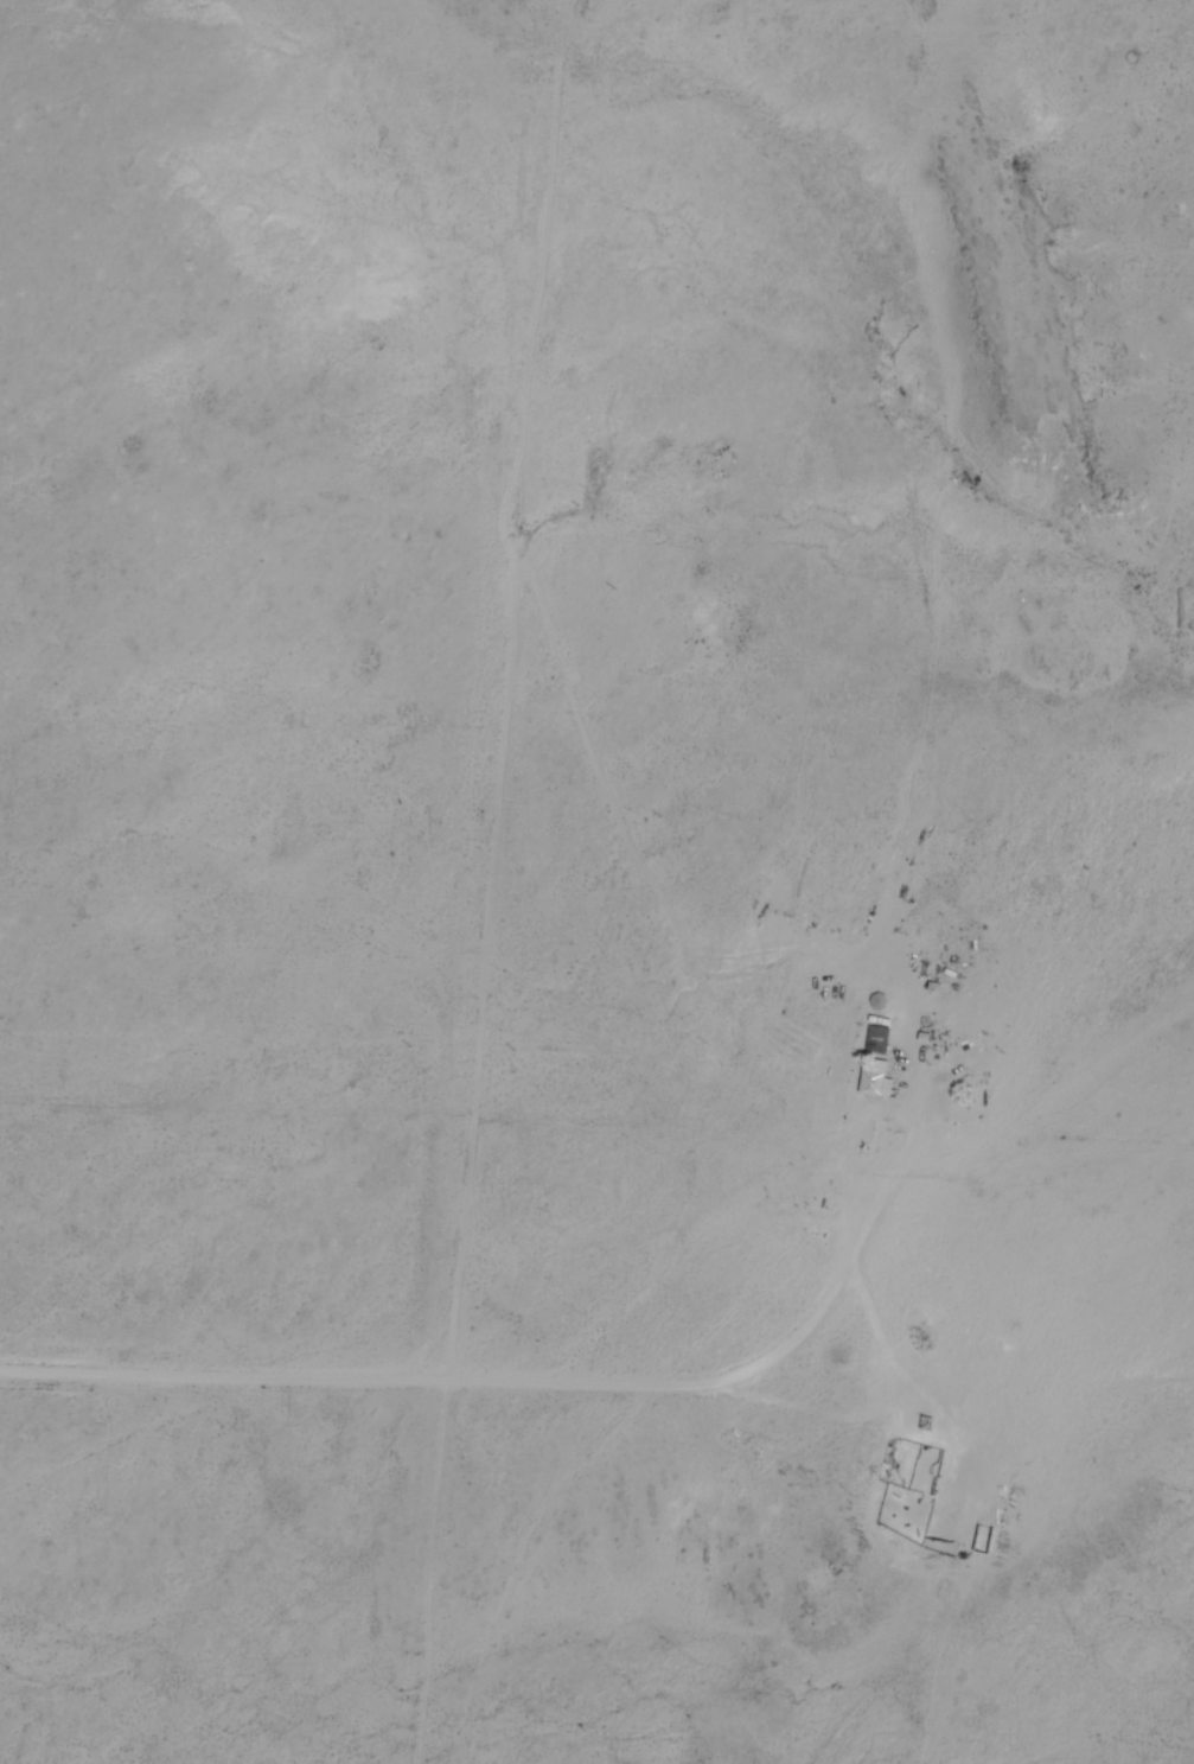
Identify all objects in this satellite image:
building: (877, 1039)
building: (876, 1077)
road: (595, 1414)

